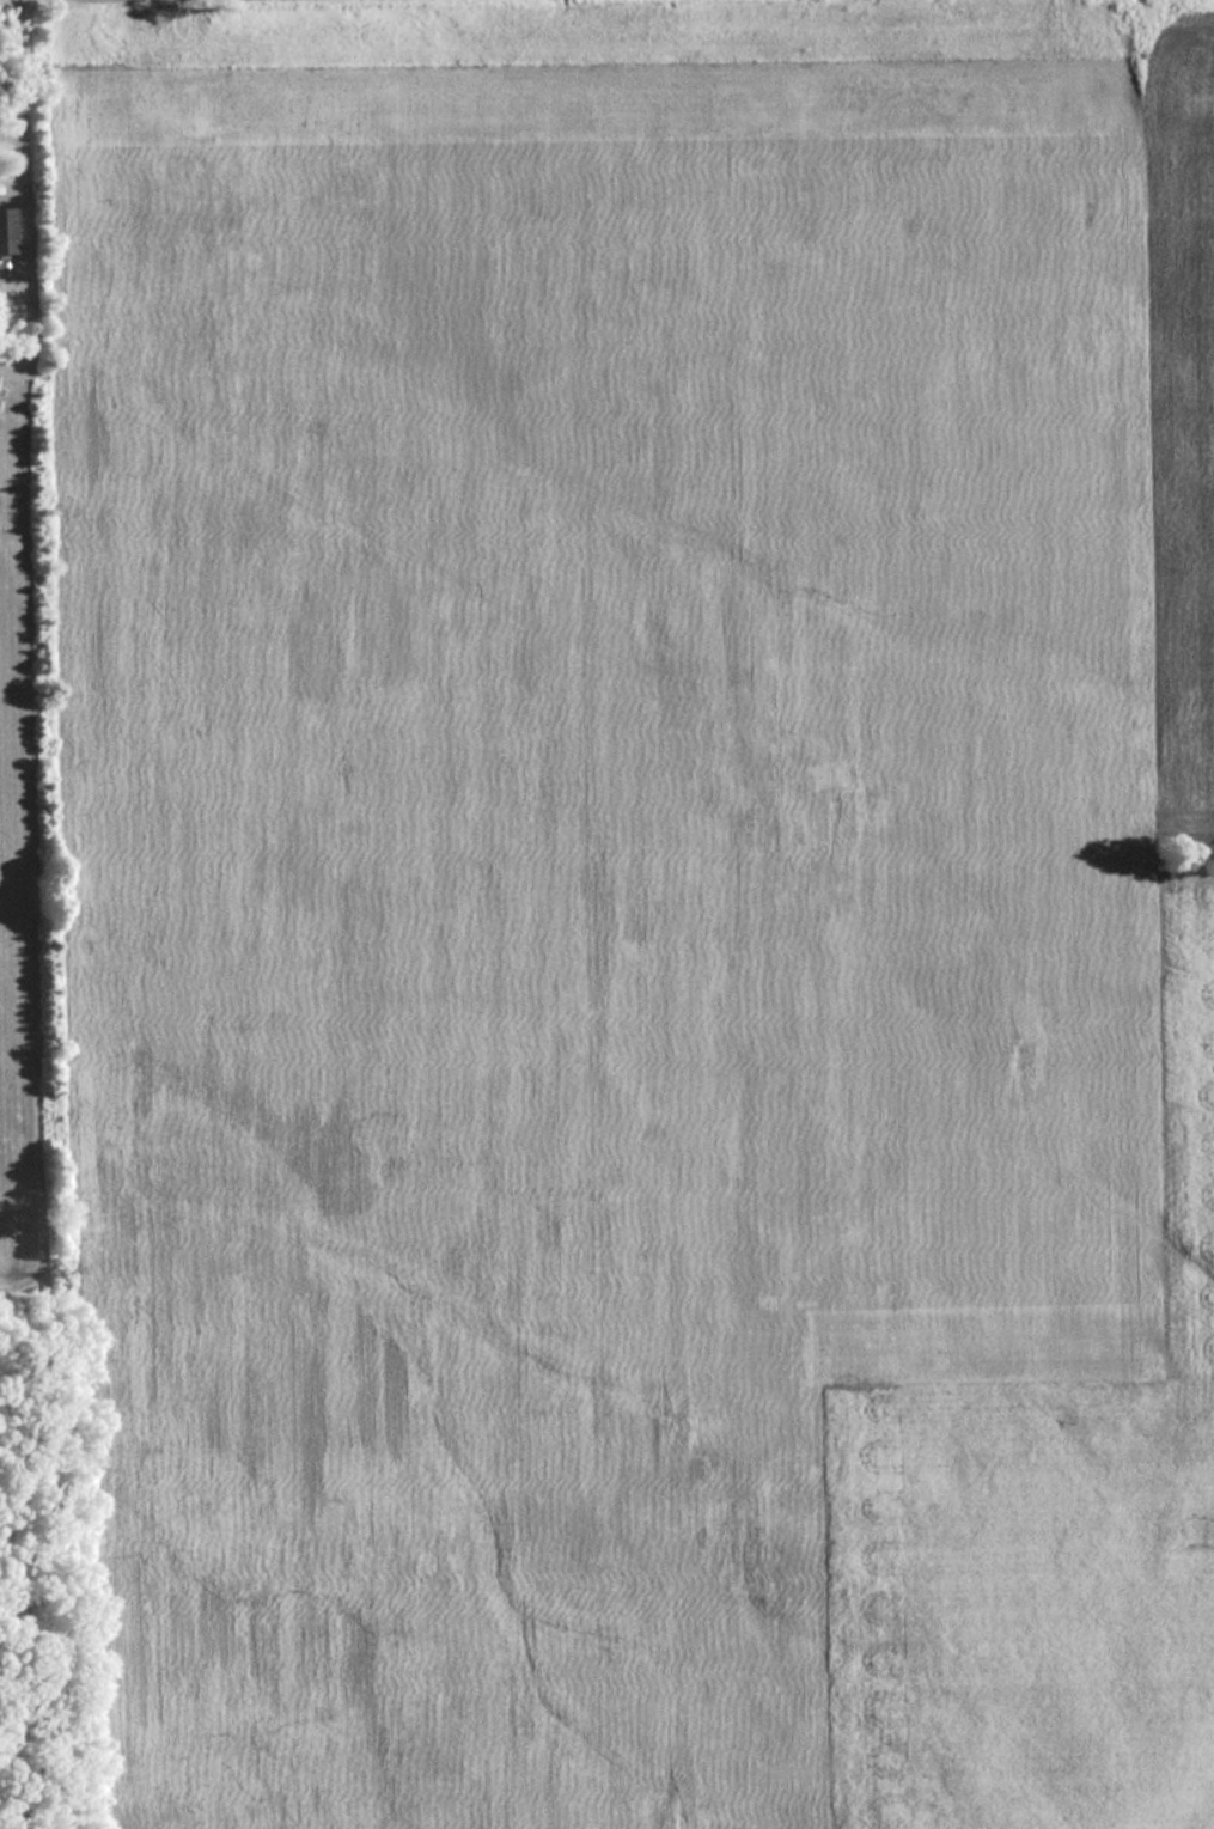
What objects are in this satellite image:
road: (22, 68)
building: (5, 231)

